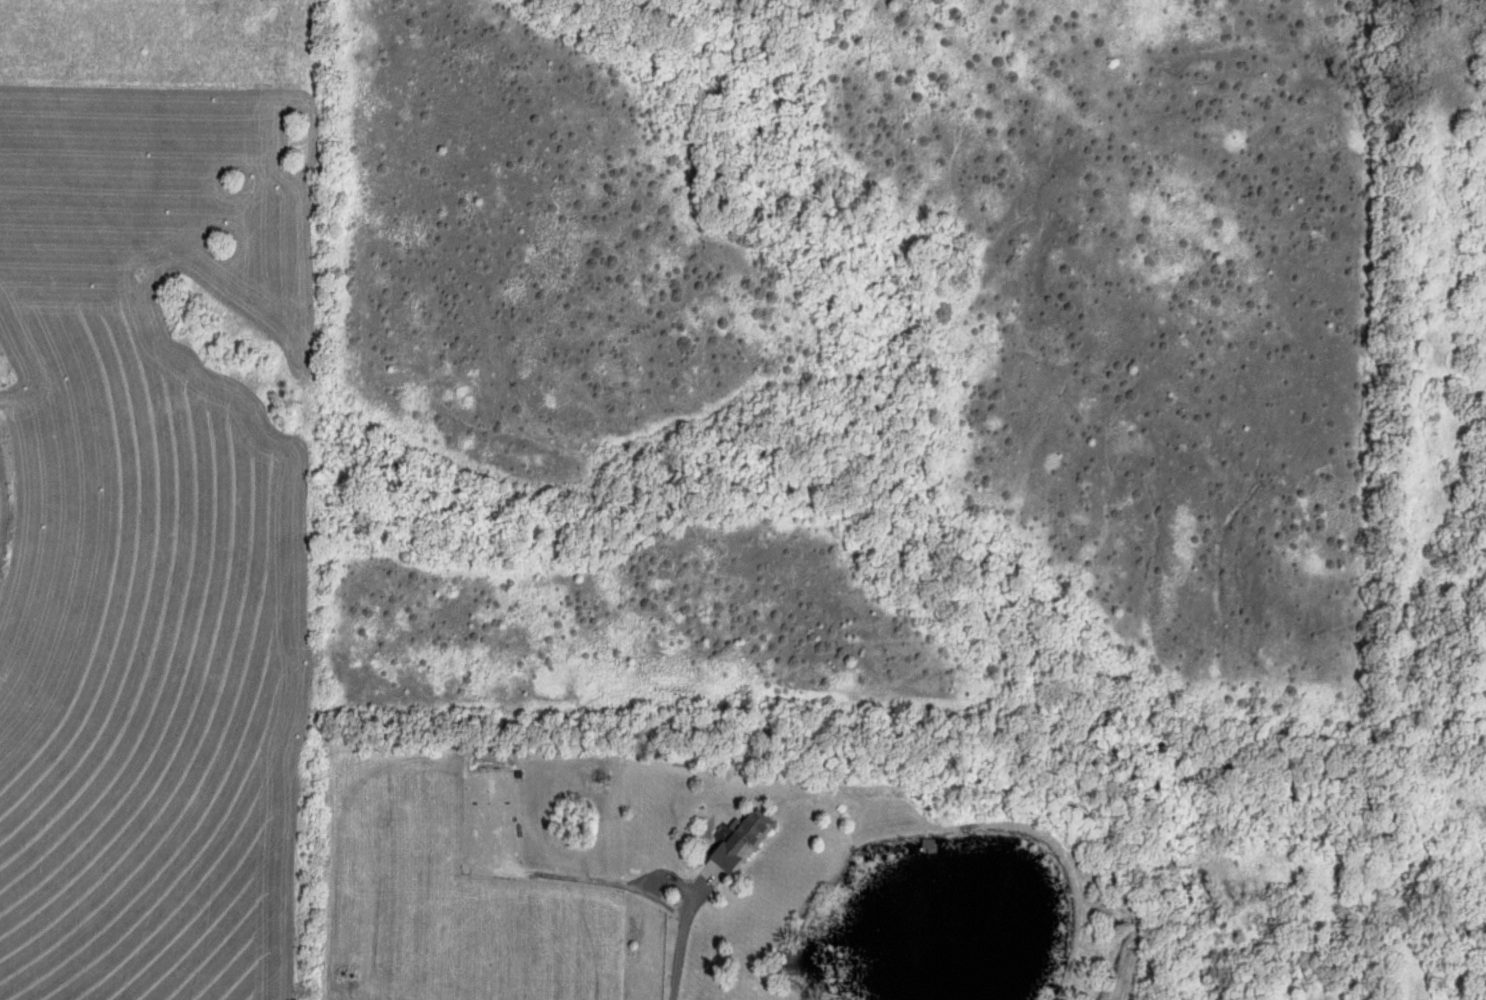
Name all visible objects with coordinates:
building: (742, 840)
road: (682, 935)

